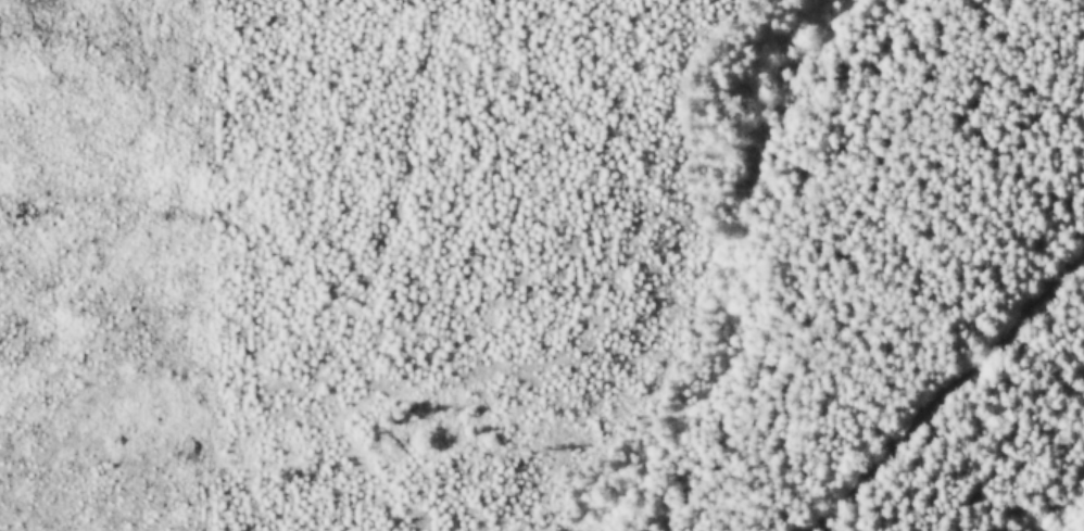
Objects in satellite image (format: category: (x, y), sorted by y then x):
road: (937, 380)

